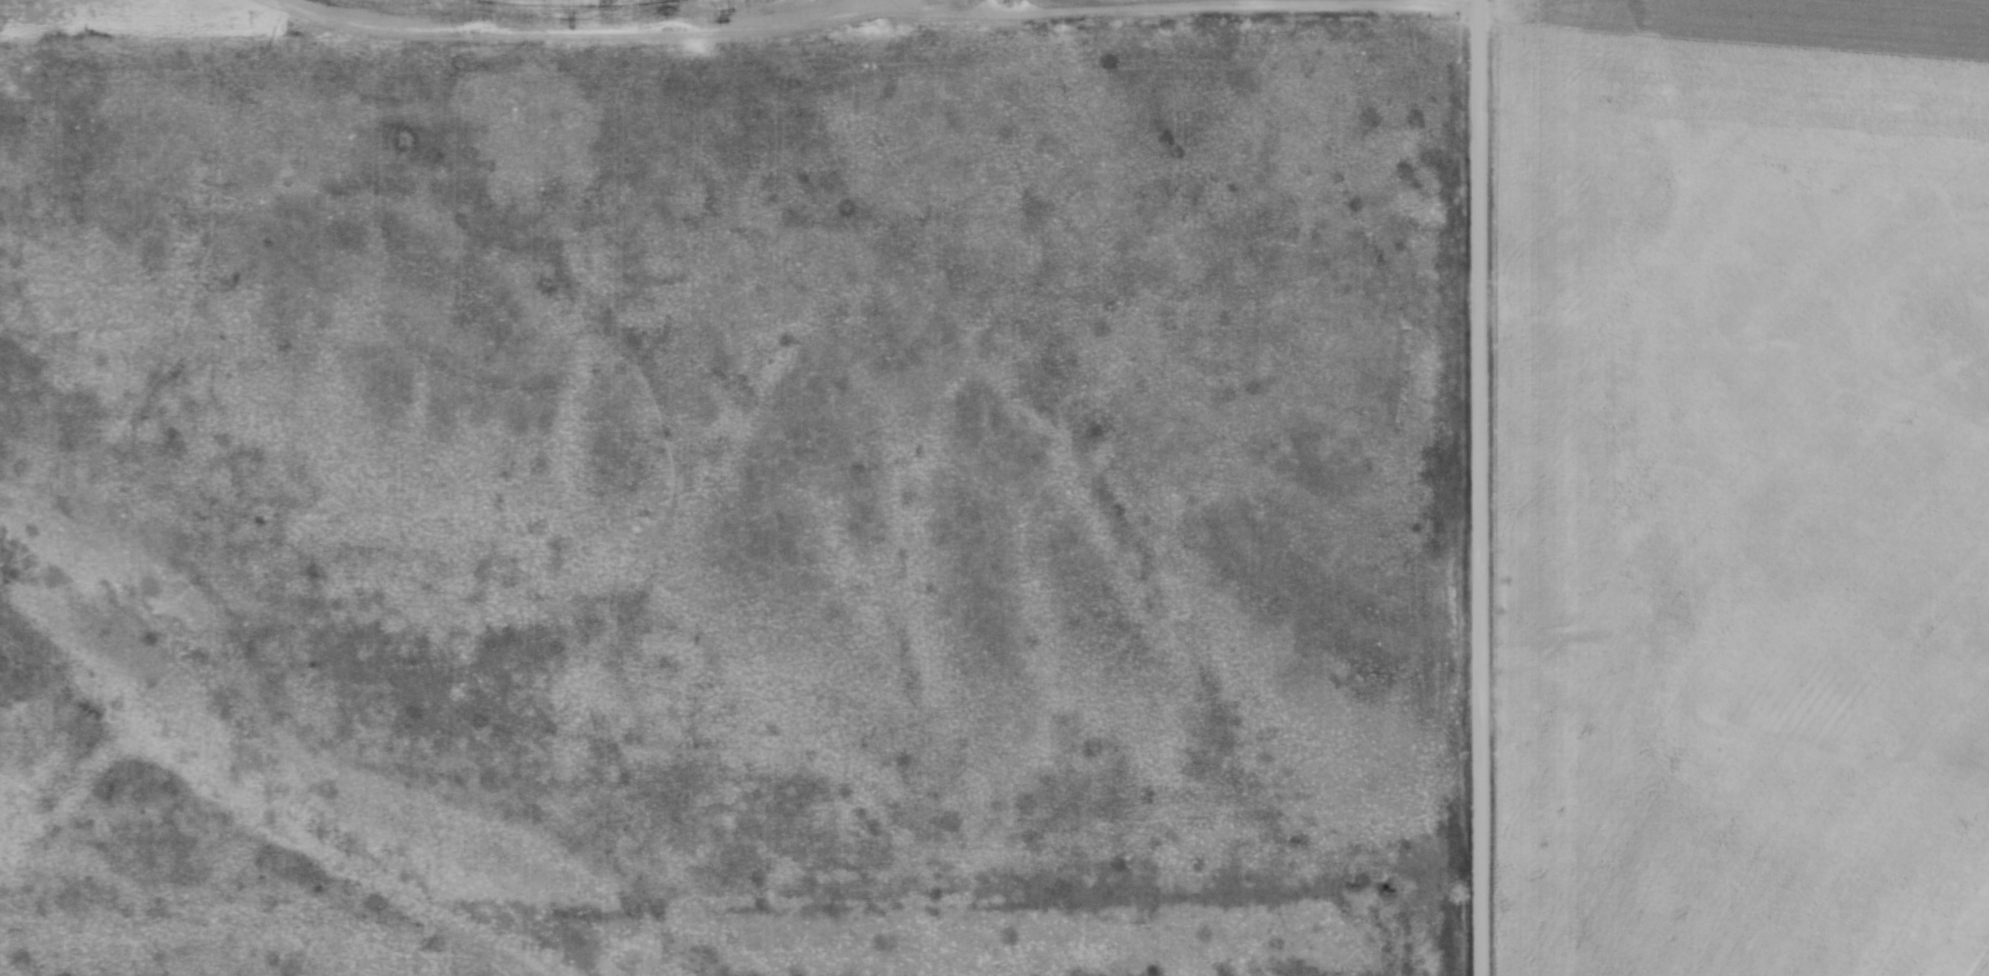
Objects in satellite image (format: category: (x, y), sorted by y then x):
crop: (554, 4)
road: (1479, 488)

